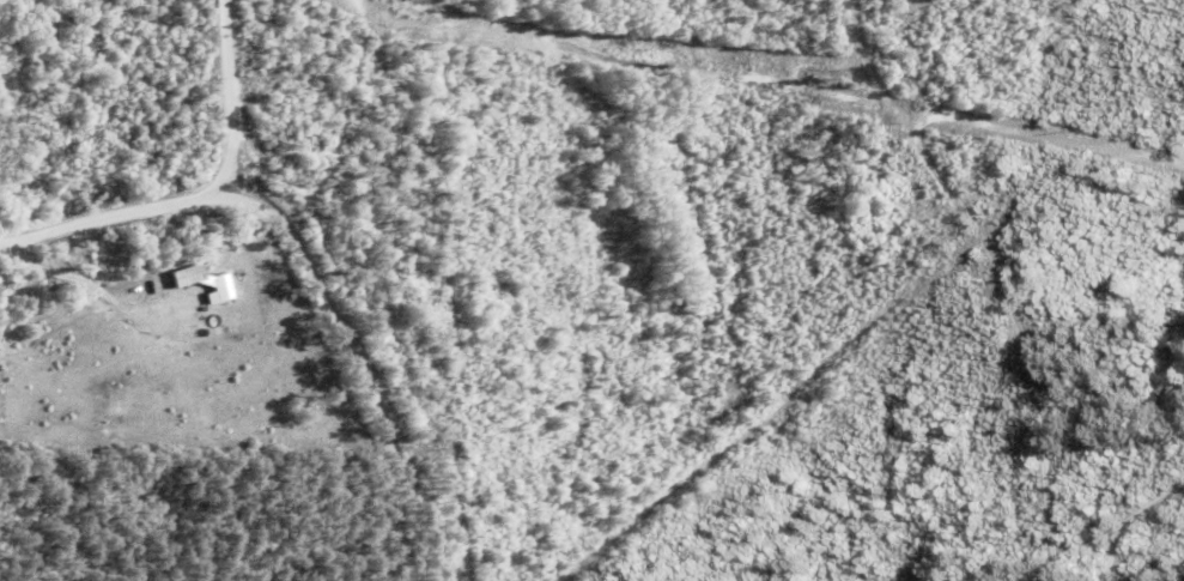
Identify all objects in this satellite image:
road: (232, 95)
road: (297, 258)
road: (74, 279)
road: (1105, 492)

